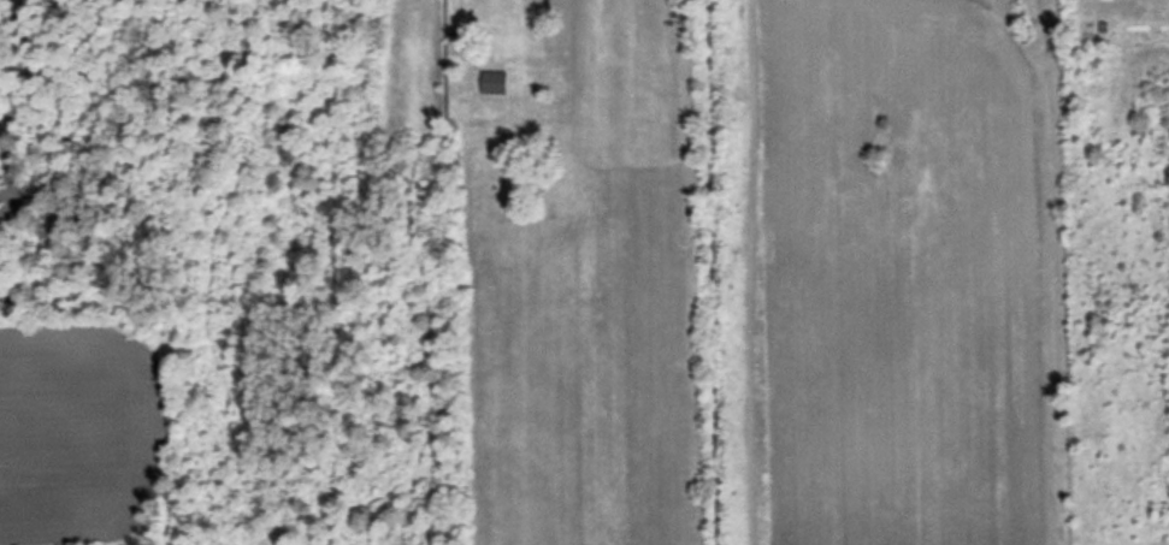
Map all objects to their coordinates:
building: (492, 82)

